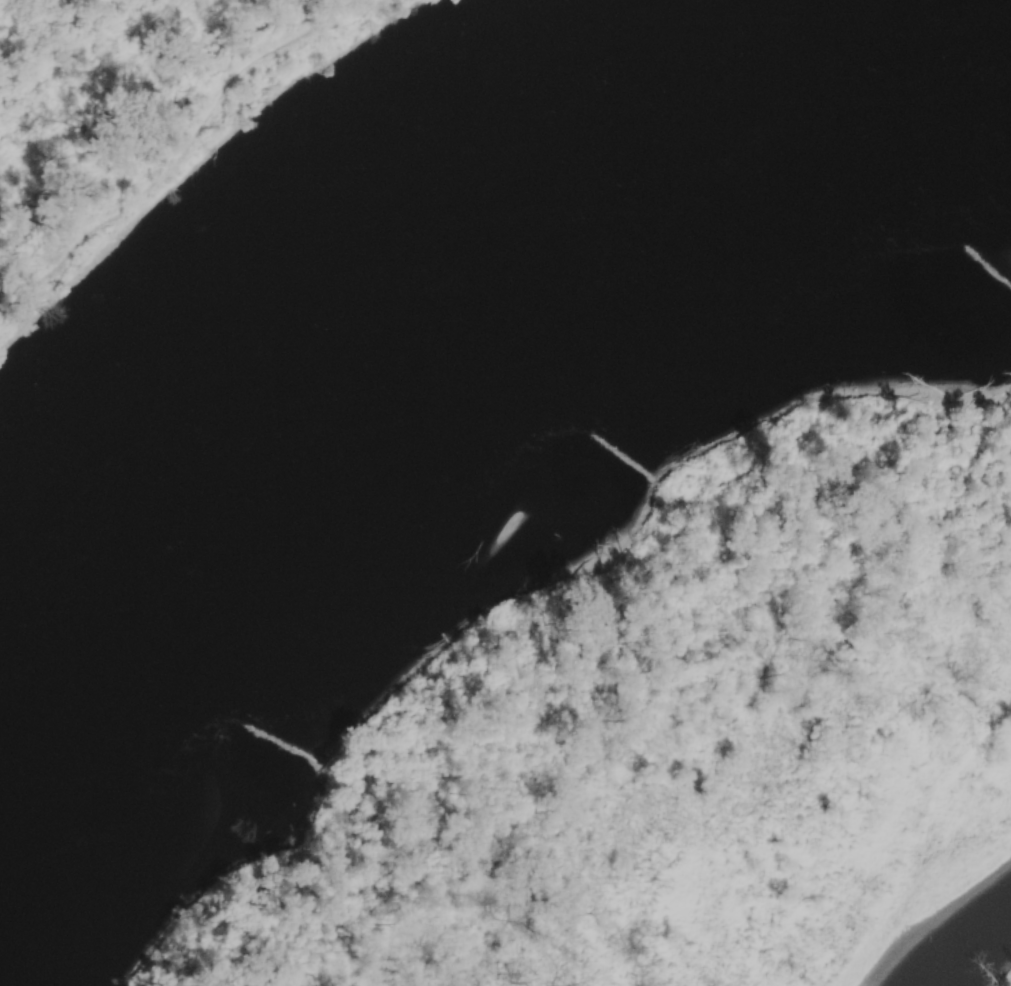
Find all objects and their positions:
park: (140, 115)
road: (184, 156)
river: (452, 310)

